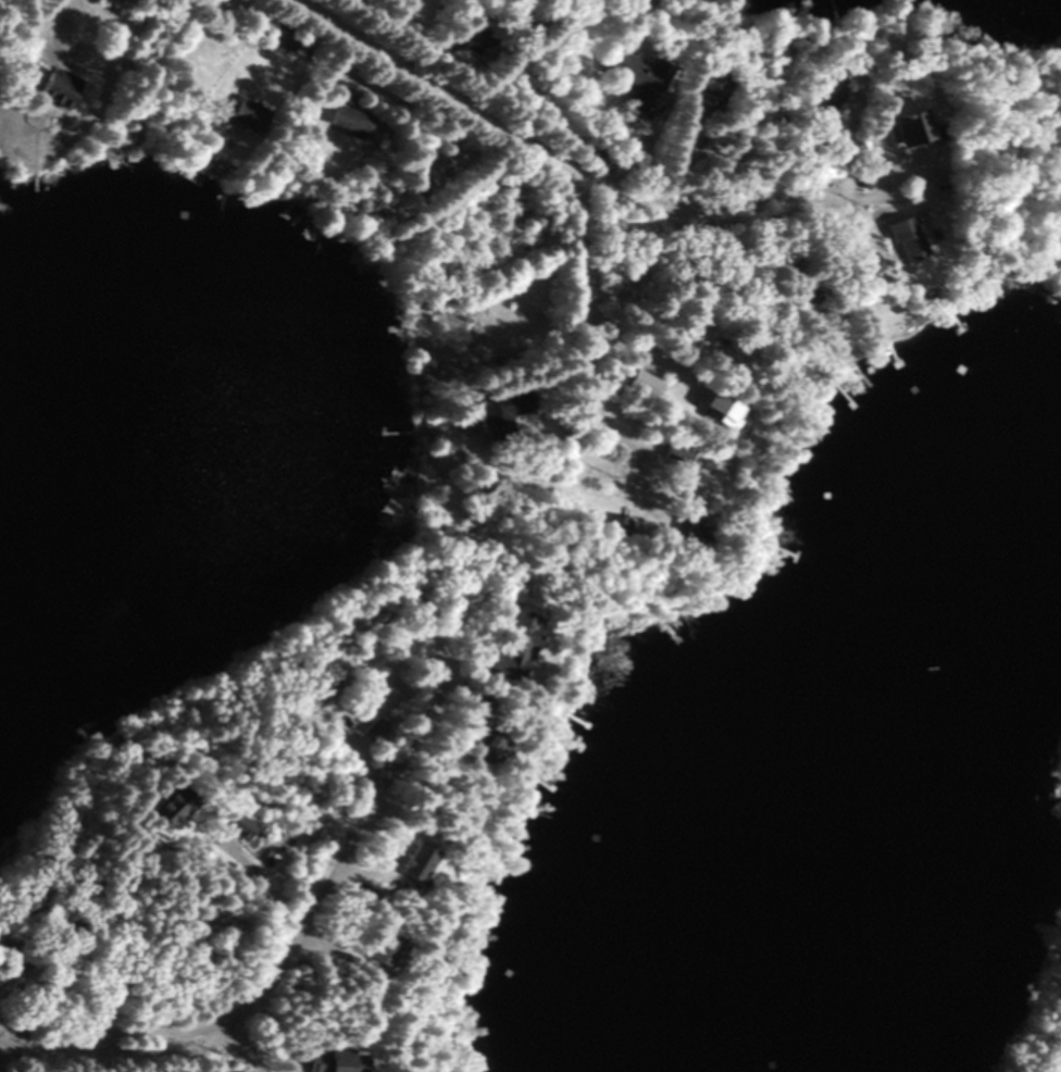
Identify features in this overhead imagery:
building: (114, 1)
building: (279, 37)
road: (90, 49)
building: (629, 76)
building: (50, 88)
building: (821, 92)
building: (704, 94)
building: (239, 114)
building: (913, 117)
building: (344, 121)
building: (429, 169)
road: (596, 188)
building: (907, 247)
road: (587, 338)
building: (636, 384)
building: (500, 408)
building: (707, 409)
building: (669, 450)
building: (675, 525)
building: (504, 645)
building: (479, 748)
building: (161, 808)
building: (232, 828)
building: (408, 863)
road: (253, 873)
road: (282, 939)
building: (372, 950)
building: (322, 1061)

